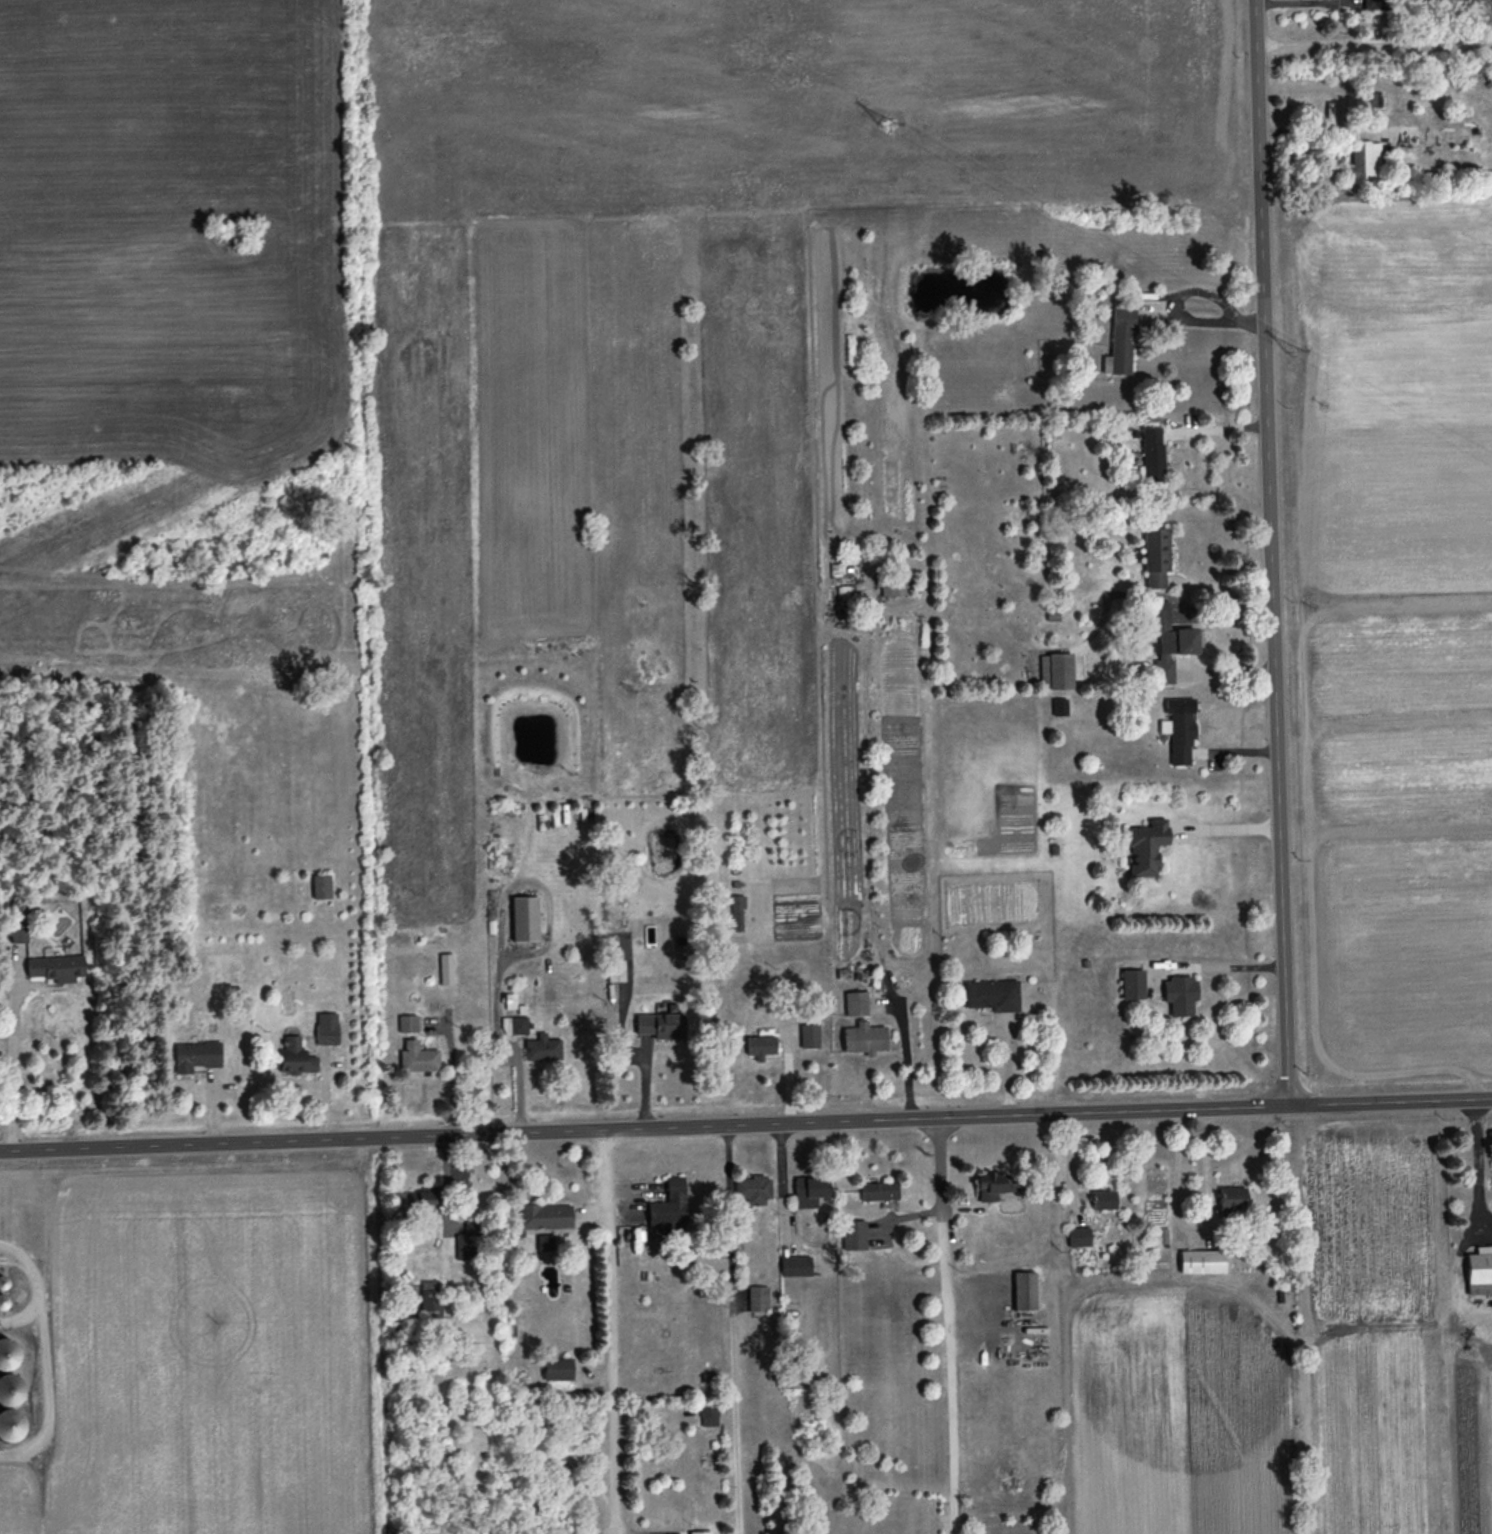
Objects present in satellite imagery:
road: (1374, 42)
building: (1372, 99)
power tower: (882, 128)
building: (1364, 160)
road: (1200, 321)
building: (1120, 342)
power tower: (1287, 354)
road: (1216, 430)
building: (1152, 453)
road: (1273, 552)
building: (1156, 556)
building: (896, 585)
building: (1170, 641)
building: (1056, 670)
building: (1060, 706)
building: (1179, 729)
road: (1226, 823)
building: (1144, 847)
building: (321, 886)
building: (738, 912)
building: (17, 918)
building: (523, 919)
road: (1231, 960)
building: (55, 965)
building: (446, 968)
building: (616, 970)
building: (1132, 983)
building: (1180, 994)
building: (990, 995)
building: (856, 1003)
building: (408, 1023)
building: (514, 1025)
building: (662, 1025)
building: (327, 1028)
building: (809, 1035)
building: (864, 1038)
road: (12, 1043)
building: (760, 1046)
building: (542, 1048)
building: (196, 1055)
building: (415, 1056)
building: (296, 1057)
road: (903, 1061)
road: (1004, 1063)
road: (745, 1123)
road: (1477, 1175)
building: (753, 1189)
building: (809, 1190)
building: (879, 1190)
building: (1232, 1198)
building: (420, 1199)
building: (1103, 1199)
building: (669, 1205)
building: (544, 1215)
road: (1484, 1219)
road: (1192, 1227)
building: (854, 1234)
building: (1079, 1236)
building: (466, 1242)
building: (544, 1242)
building: (1202, 1260)
building: (795, 1265)
building: (1478, 1269)
building: (1024, 1290)
building: (758, 1297)
building: (430, 1298)
road: (19, 1314)
road: (944, 1325)
road: (729, 1329)
road: (608, 1331)
road: (1471, 1350)
building: (8, 1354)
road: (41, 1356)
building: (558, 1368)
building: (11, 1389)
road: (1451, 1390)
building: (709, 1415)
building: (11, 1424)
building: (700, 1532)

